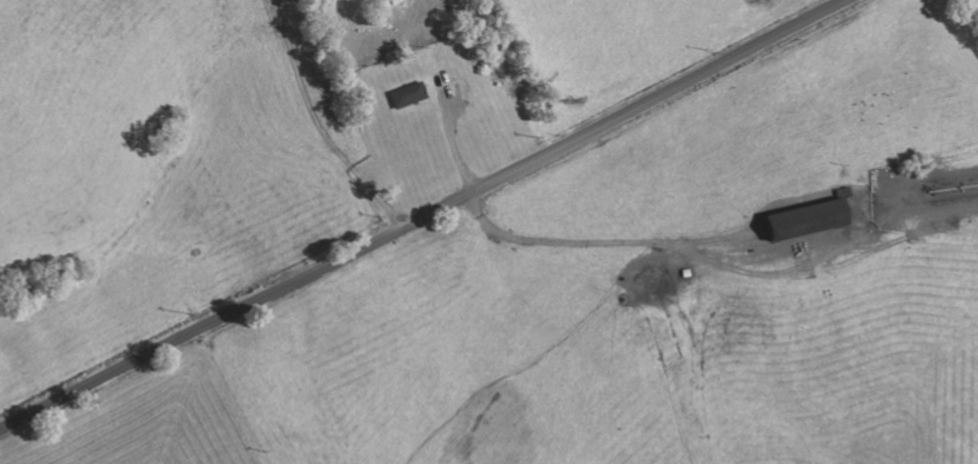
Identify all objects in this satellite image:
building: (408, 94)
road: (321, 123)
road: (422, 215)
road: (594, 241)

